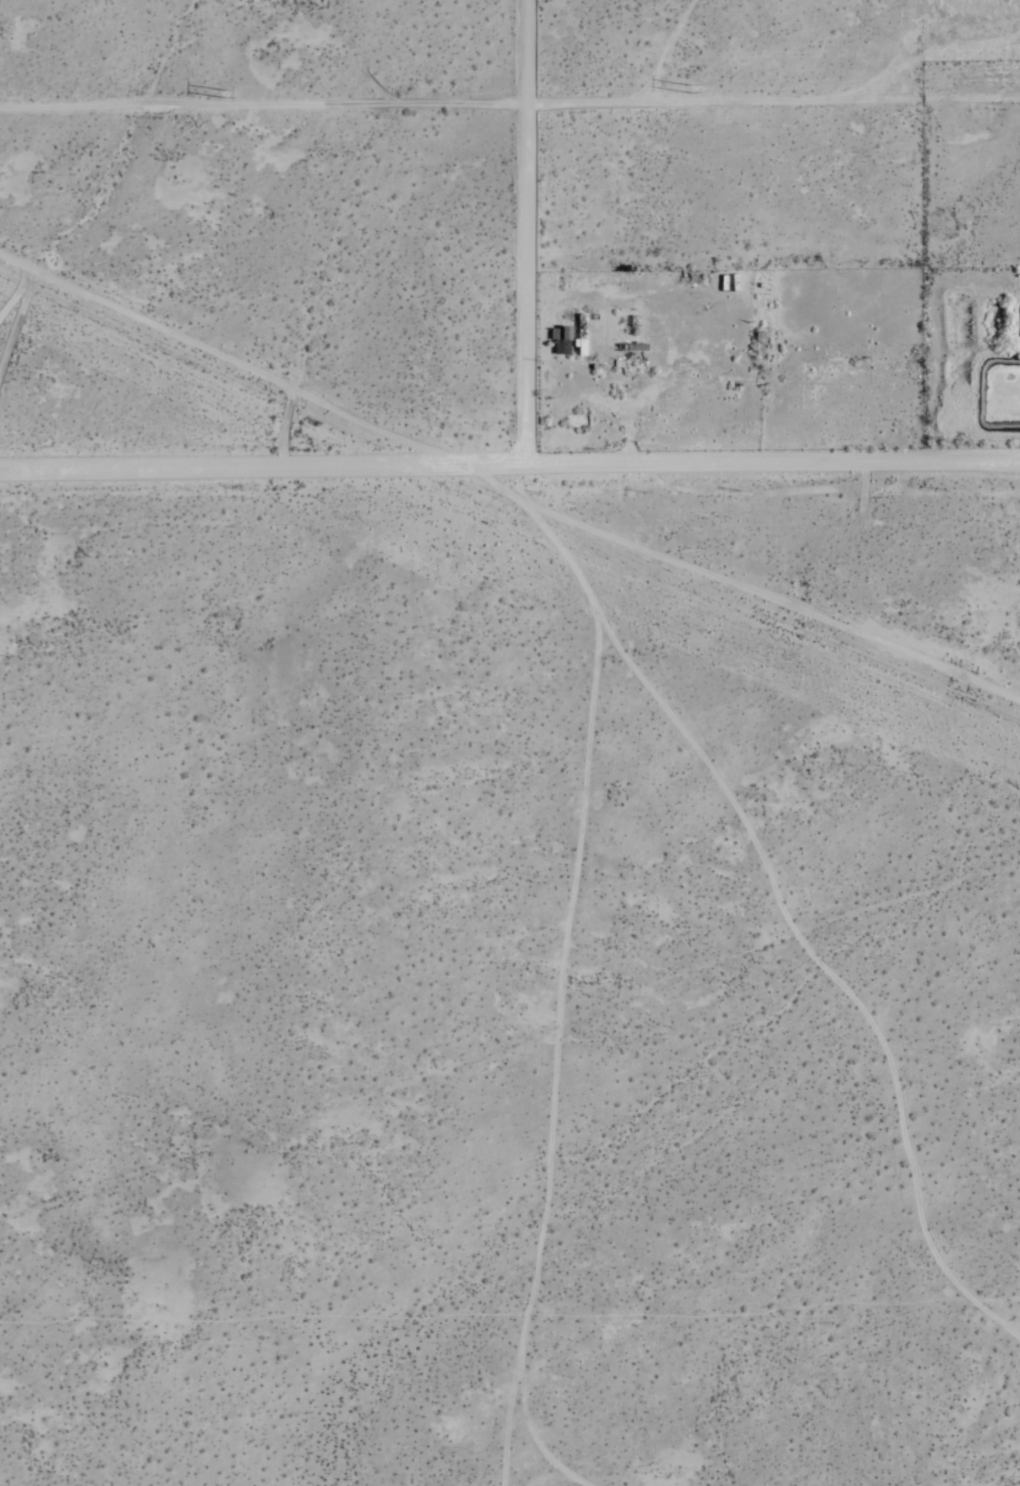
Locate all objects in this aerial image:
power tower: (679, 88)
power tower: (225, 95)
road: (510, 103)
road: (527, 232)
road: (233, 354)
road: (510, 465)

